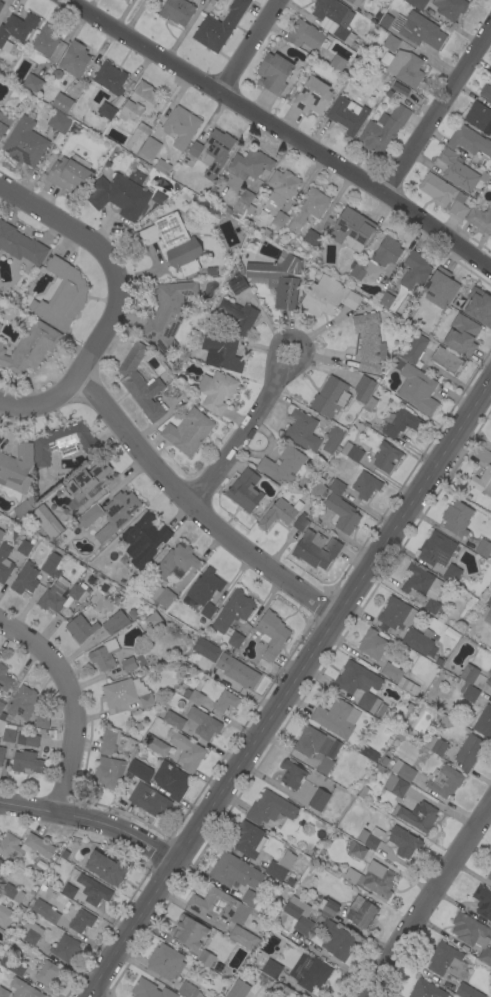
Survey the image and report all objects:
building: (354, 1)
building: (1, 2)
building: (418, 3)
building: (1, 4)
building: (450, 8)
building: (177, 11)
building: (368, 15)
building: (378, 15)
building: (334, 18)
building: (219, 25)
building: (16, 29)
building: (421, 31)
building: (307, 35)
building: (45, 40)
building: (391, 42)
road: (251, 46)
building: (74, 59)
building: (337, 62)
building: (404, 67)
building: (274, 73)
building: (110, 78)
building: (32, 82)
building: (398, 88)
building: (486, 91)
building: (388, 93)
building: (312, 96)
building: (140, 101)
building: (62, 102)
building: (106, 110)
road: (438, 112)
building: (347, 114)
building: (479, 117)
building: (59, 121)
building: (4, 125)
building: (181, 126)
road: (283, 129)
building: (142, 130)
building: (383, 130)
building: (135, 139)
building: (469, 141)
building: (24, 142)
building: (149, 148)
building: (195, 149)
building: (216, 152)
building: (250, 163)
building: (162, 166)
building: (458, 170)
building: (70, 174)
building: (137, 176)
building: (283, 186)
building: (119, 195)
building: (444, 195)
building: (158, 197)
building: (241, 203)
building: (308, 209)
building: (480, 219)
building: (278, 221)
building: (352, 229)
building: (312, 238)
building: (174, 242)
building: (20, 244)
road: (108, 258)
building: (378, 258)
building: (415, 270)
building: (212, 271)
building: (278, 279)
building: (237, 283)
building: (440, 288)
building: (62, 295)
building: (328, 299)
building: (386, 299)
building: (479, 306)
building: (167, 314)
building: (237, 315)
building: (0, 325)
building: (462, 335)
building: (398, 338)
building: (369, 343)
building: (30, 348)
building: (415, 348)
building: (223, 351)
building: (447, 360)
building: (140, 383)
building: (363, 388)
building: (416, 388)
building: (216, 391)
building: (330, 397)
building: (370, 404)
building: (400, 422)
building: (302, 430)
building: (187, 431)
road: (246, 434)
building: (333, 438)
building: (63, 443)
building: (352, 451)
building: (386, 456)
building: (284, 465)
building: (17, 468)
road: (166, 478)
building: (88, 482)
building: (482, 482)
building: (365, 485)
building: (335, 486)
building: (317, 487)
building: (245, 490)
building: (22, 508)
building: (117, 513)
building: (279, 513)
building: (342, 513)
building: (89, 516)
building: (457, 518)
building: (46, 521)
building: (300, 523)
building: (1, 534)
building: (144, 540)
building: (24, 547)
building: (483, 548)
building: (316, 549)
building: (438, 549)
building: (5, 561)
building: (50, 563)
building: (176, 563)
building: (452, 574)
building: (25, 578)
building: (423, 586)
building: (204, 587)
building: (79, 592)
building: (54, 595)
building: (159, 597)
building: (116, 599)
building: (208, 610)
building: (233, 610)
building: (483, 610)
building: (393, 612)
building: (132, 613)
building: (153, 620)
building: (490, 623)
building: (96, 624)
building: (383, 628)
building: (271, 634)
building: (411, 638)
building: (235, 641)
building: (372, 644)
building: (207, 648)
building: (104, 655)
building: (128, 664)
building: (238, 671)
building: (489, 677)
building: (4, 678)
building: (399, 678)
building: (468, 683)
building: (361, 686)
road: (289, 689)
building: (122, 692)
building: (195, 692)
road: (73, 700)
building: (146, 700)
building: (225, 701)
building: (23, 702)
building: (1, 705)
building: (336, 718)
building: (42, 720)
building: (174, 720)
building: (444, 721)
building: (484, 722)
building: (203, 723)
building: (139, 725)
building: (6, 738)
building: (28, 739)
building: (109, 741)
building: (155, 745)
building: (436, 745)
building: (316, 746)
building: (186, 750)
building: (364, 750)
building: (469, 751)
building: (372, 755)
building: (26, 761)
building: (139, 770)
building: (403, 770)
building: (110, 773)
building: (292, 774)
building: (171, 780)
building: (444, 780)
building: (394, 786)
building: (362, 791)
building: (149, 799)
building: (318, 799)
building: (270, 808)
building: (415, 815)
road: (92, 818)
building: (374, 838)
building: (248, 839)
building: (403, 841)
building: (25, 847)
building: (357, 849)
building: (1, 863)
building: (280, 866)
building: (106, 868)
building: (234, 872)
building: (349, 875)
building: (489, 876)
building: (378, 879)
building: (93, 890)
building: (68, 891)
building: (12, 892)
building: (250, 899)
road: (428, 901)
building: (483, 901)
building: (219, 906)
building: (328, 907)
building: (45, 911)
building: (361, 912)
building: (5, 916)
building: (81, 921)
building: (299, 921)
building: (190, 931)
building: (32, 933)
building: (473, 935)
building: (242, 936)
building: (335, 937)
building: (65, 948)
building: (206, 958)
building: (445, 960)
building: (165, 962)
building: (16, 967)
building: (220, 968)
building: (271, 968)
building: (47, 972)
building: (314, 974)
building: (262, 985)
building: (240, 986)
building: (24, 989)
building: (426, 989)
building: (150, 990)
building: (189, 990)
building: (467, 991)
building: (3, 992)

